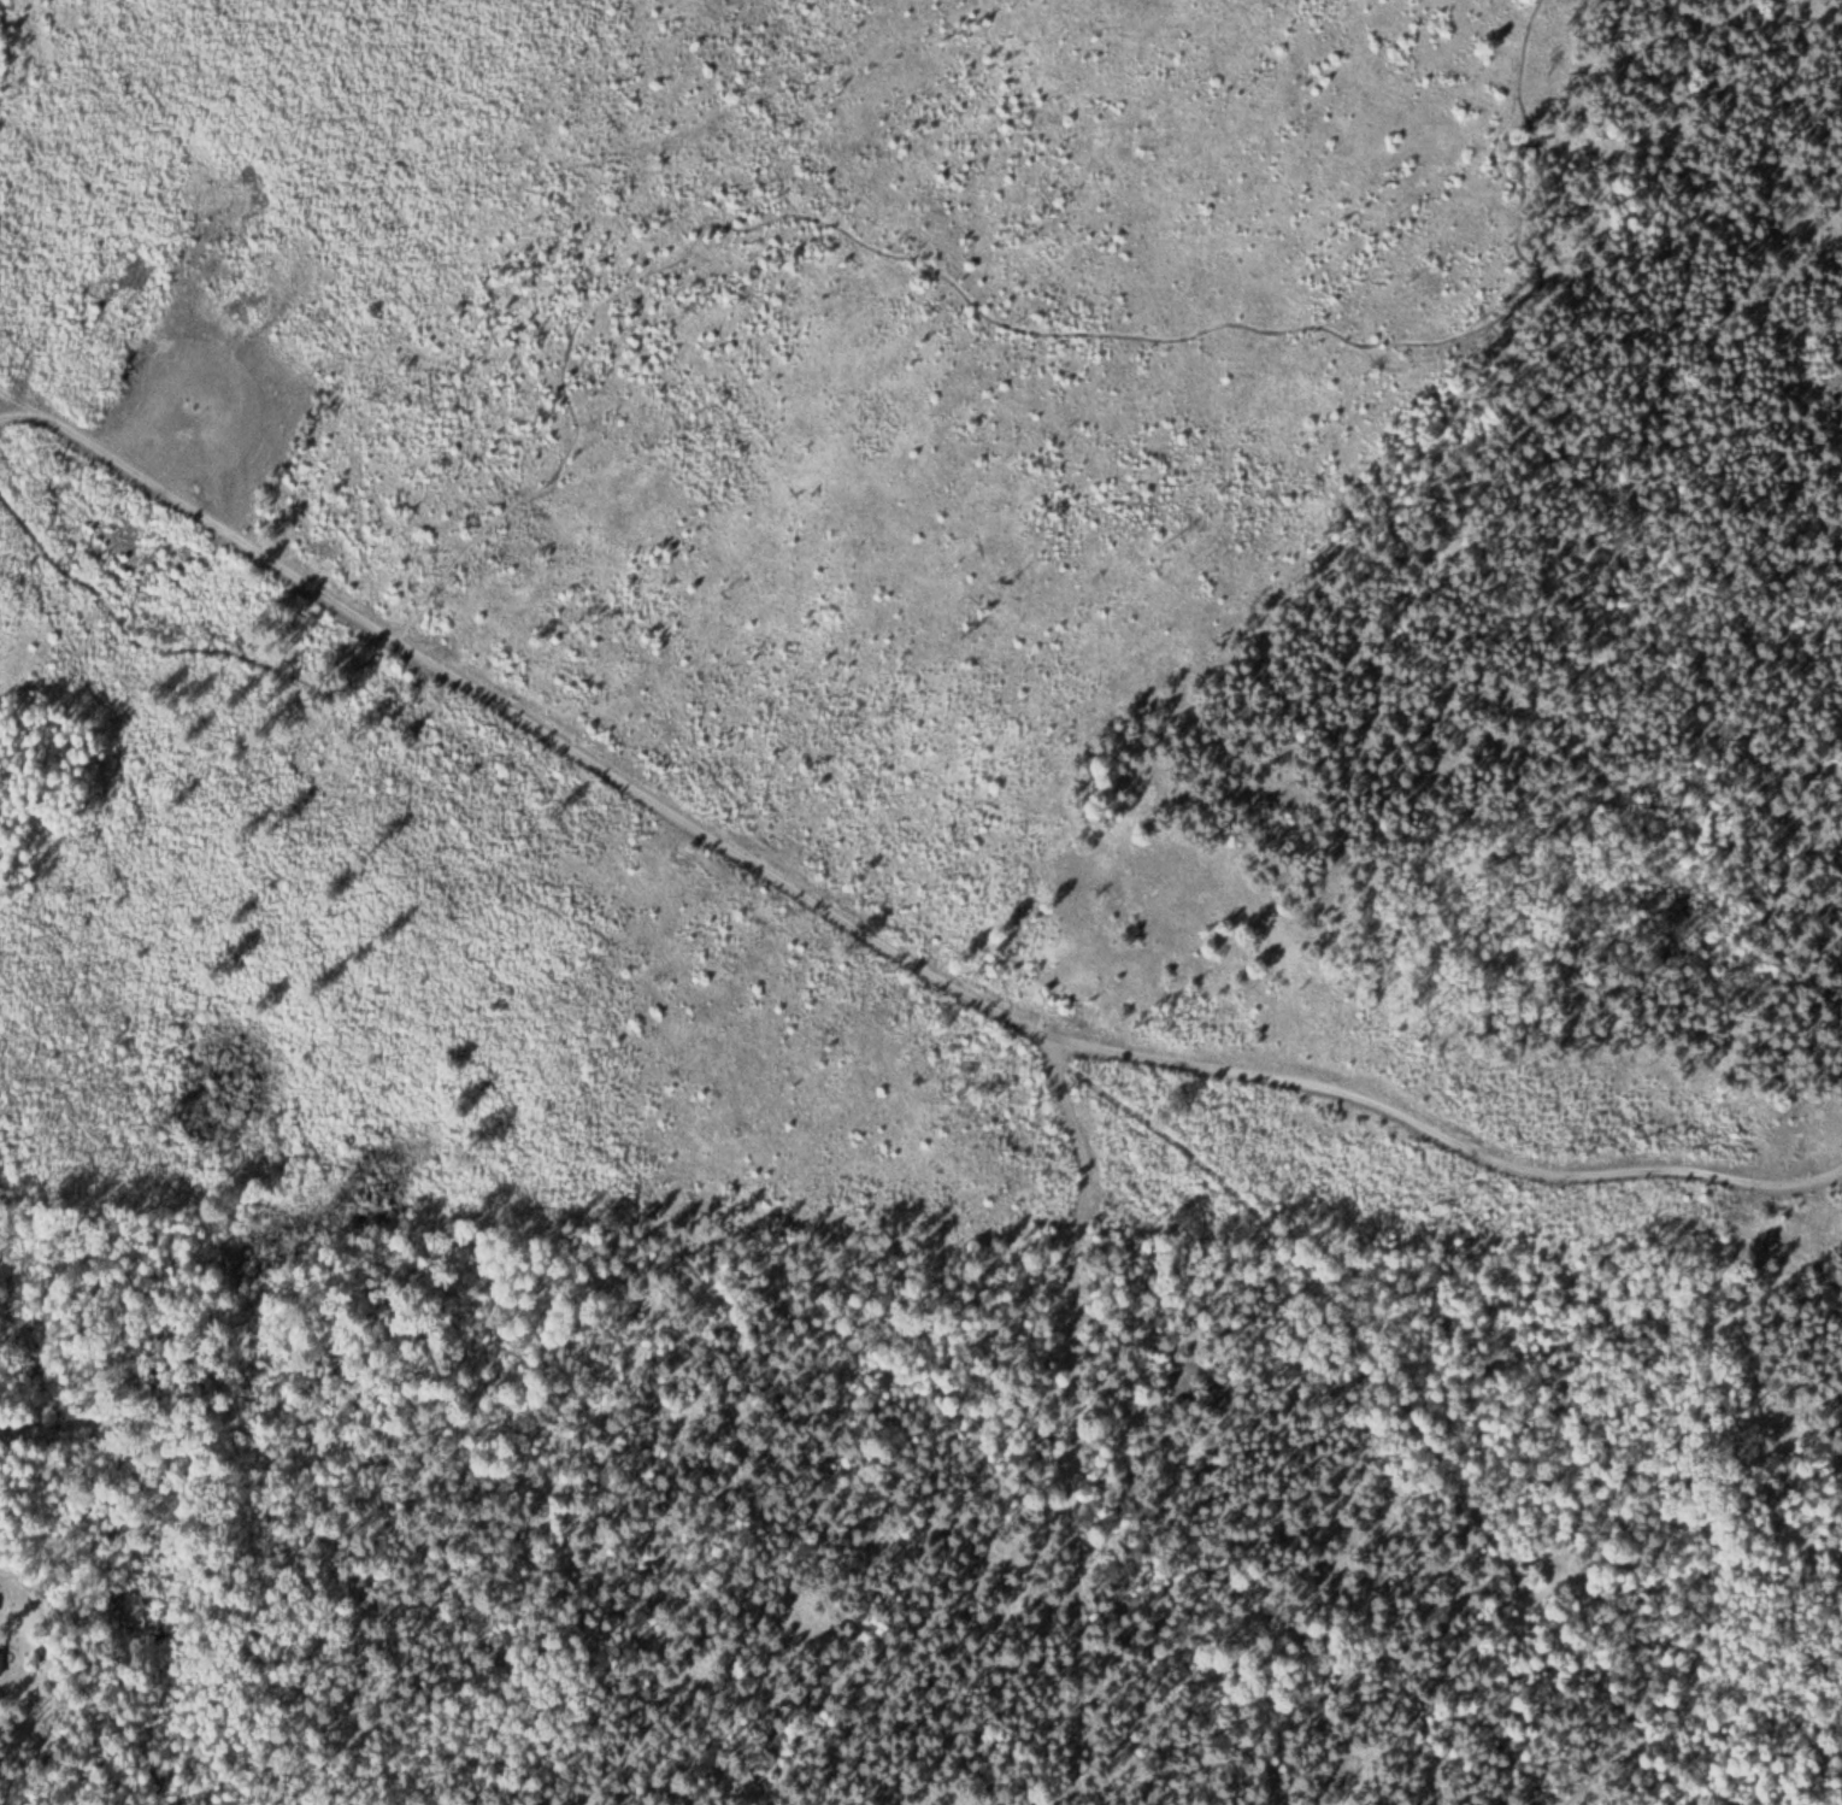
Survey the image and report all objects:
road: (784, 211)
road: (16, 395)
road: (870, 935)
building: (1, 1663)

